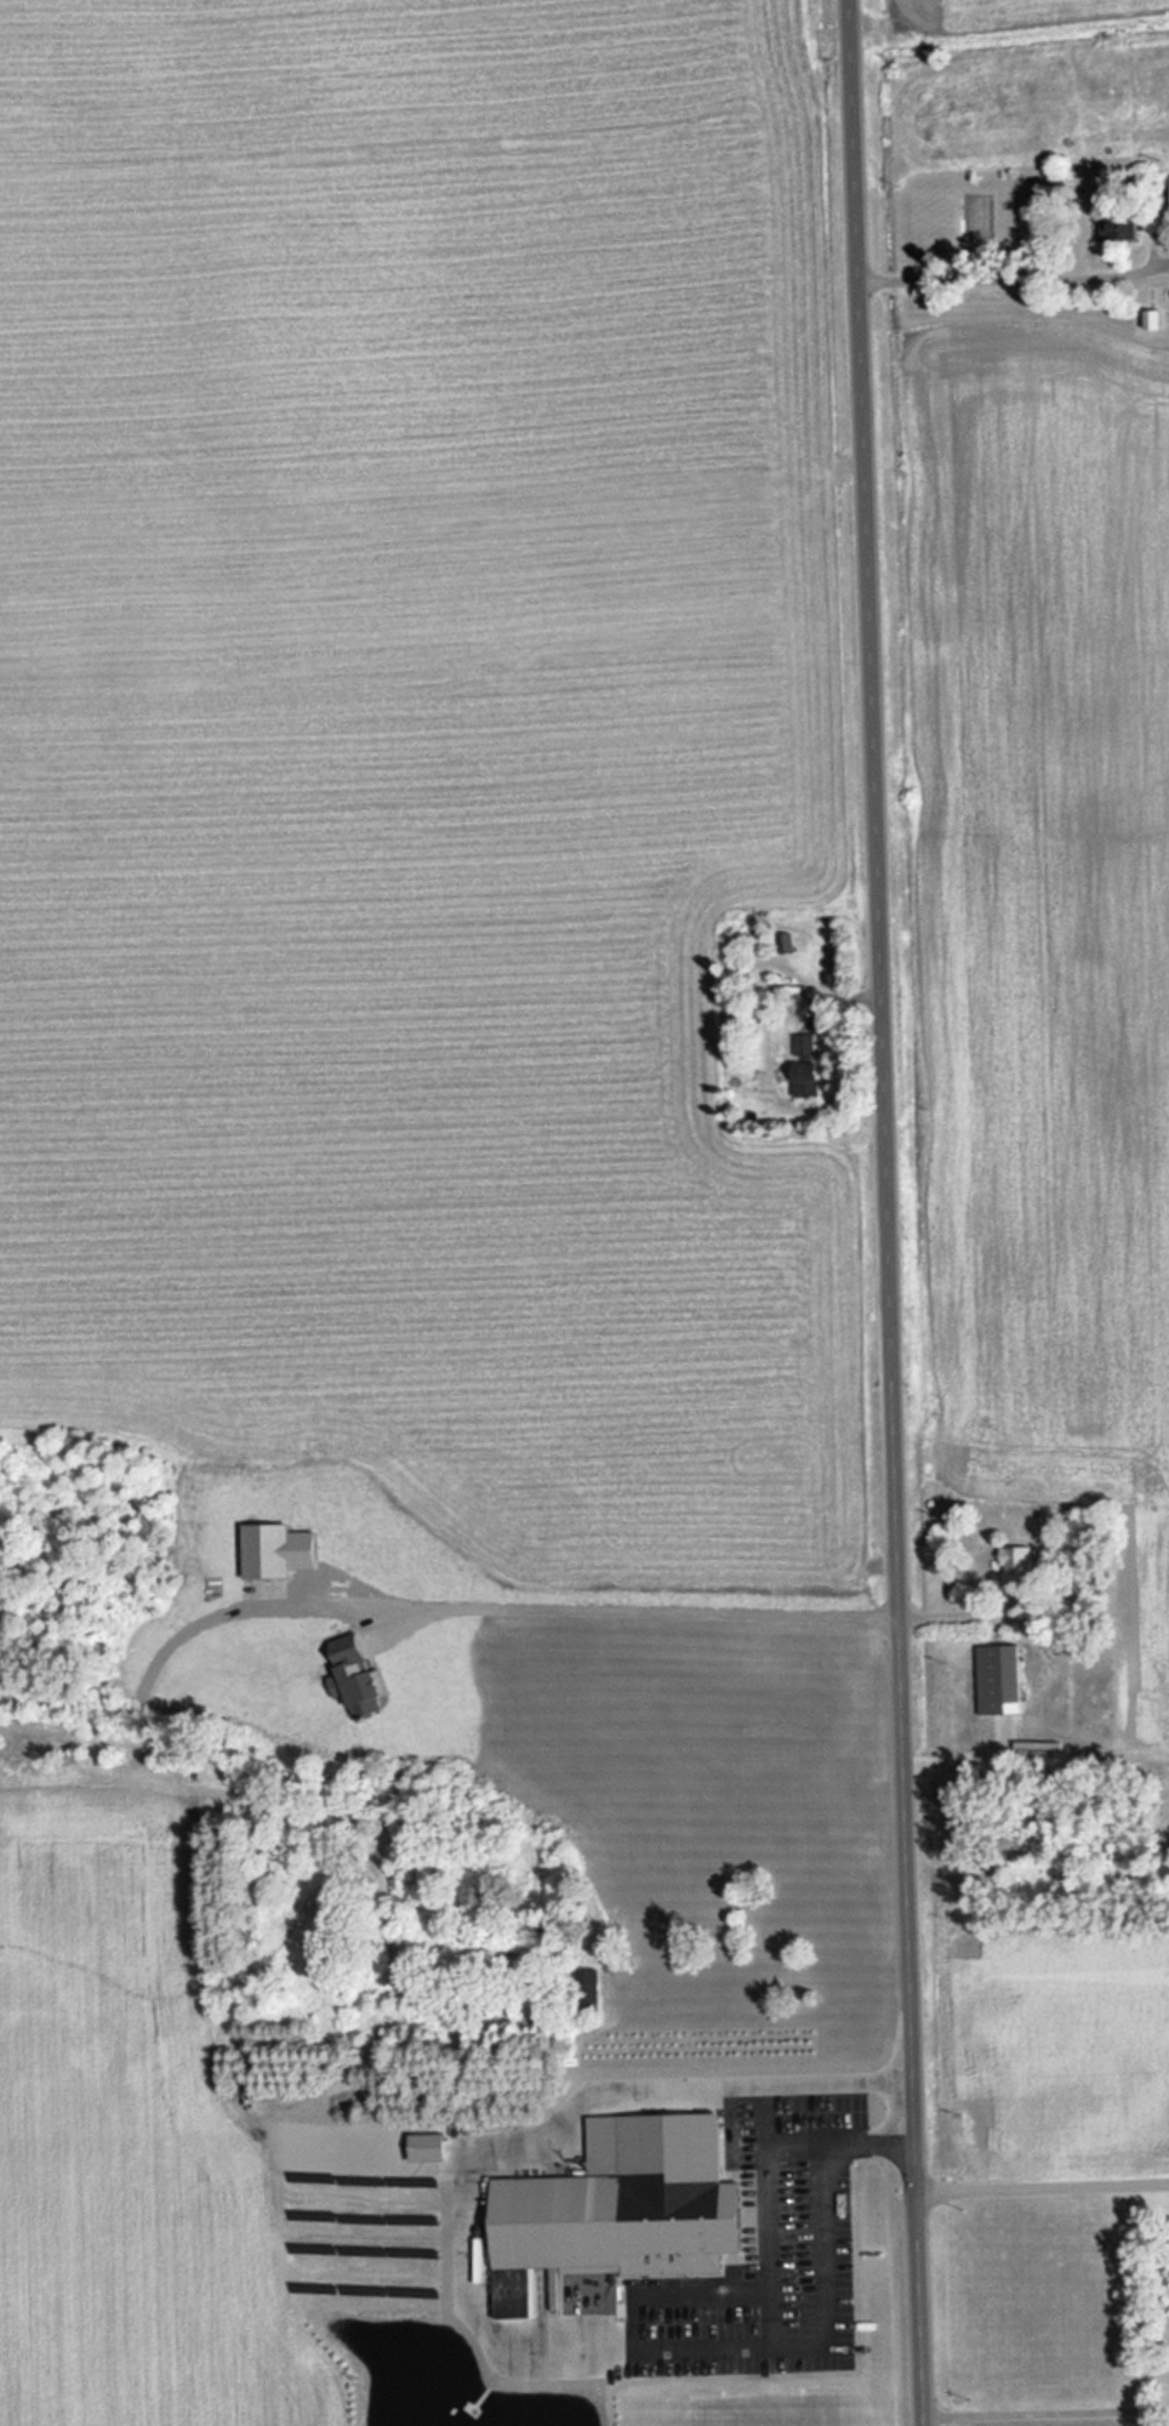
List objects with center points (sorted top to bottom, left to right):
building: (1116, 223)
building: (1150, 318)
building: (803, 1064)
road: (884, 1212)
building: (1014, 1561)
building: (996, 1680)
building: (680, 1886)
building: (581, 1988)
building: (786, 2048)
building: (819, 2049)
road: (1042, 2189)
building: (618, 2221)

